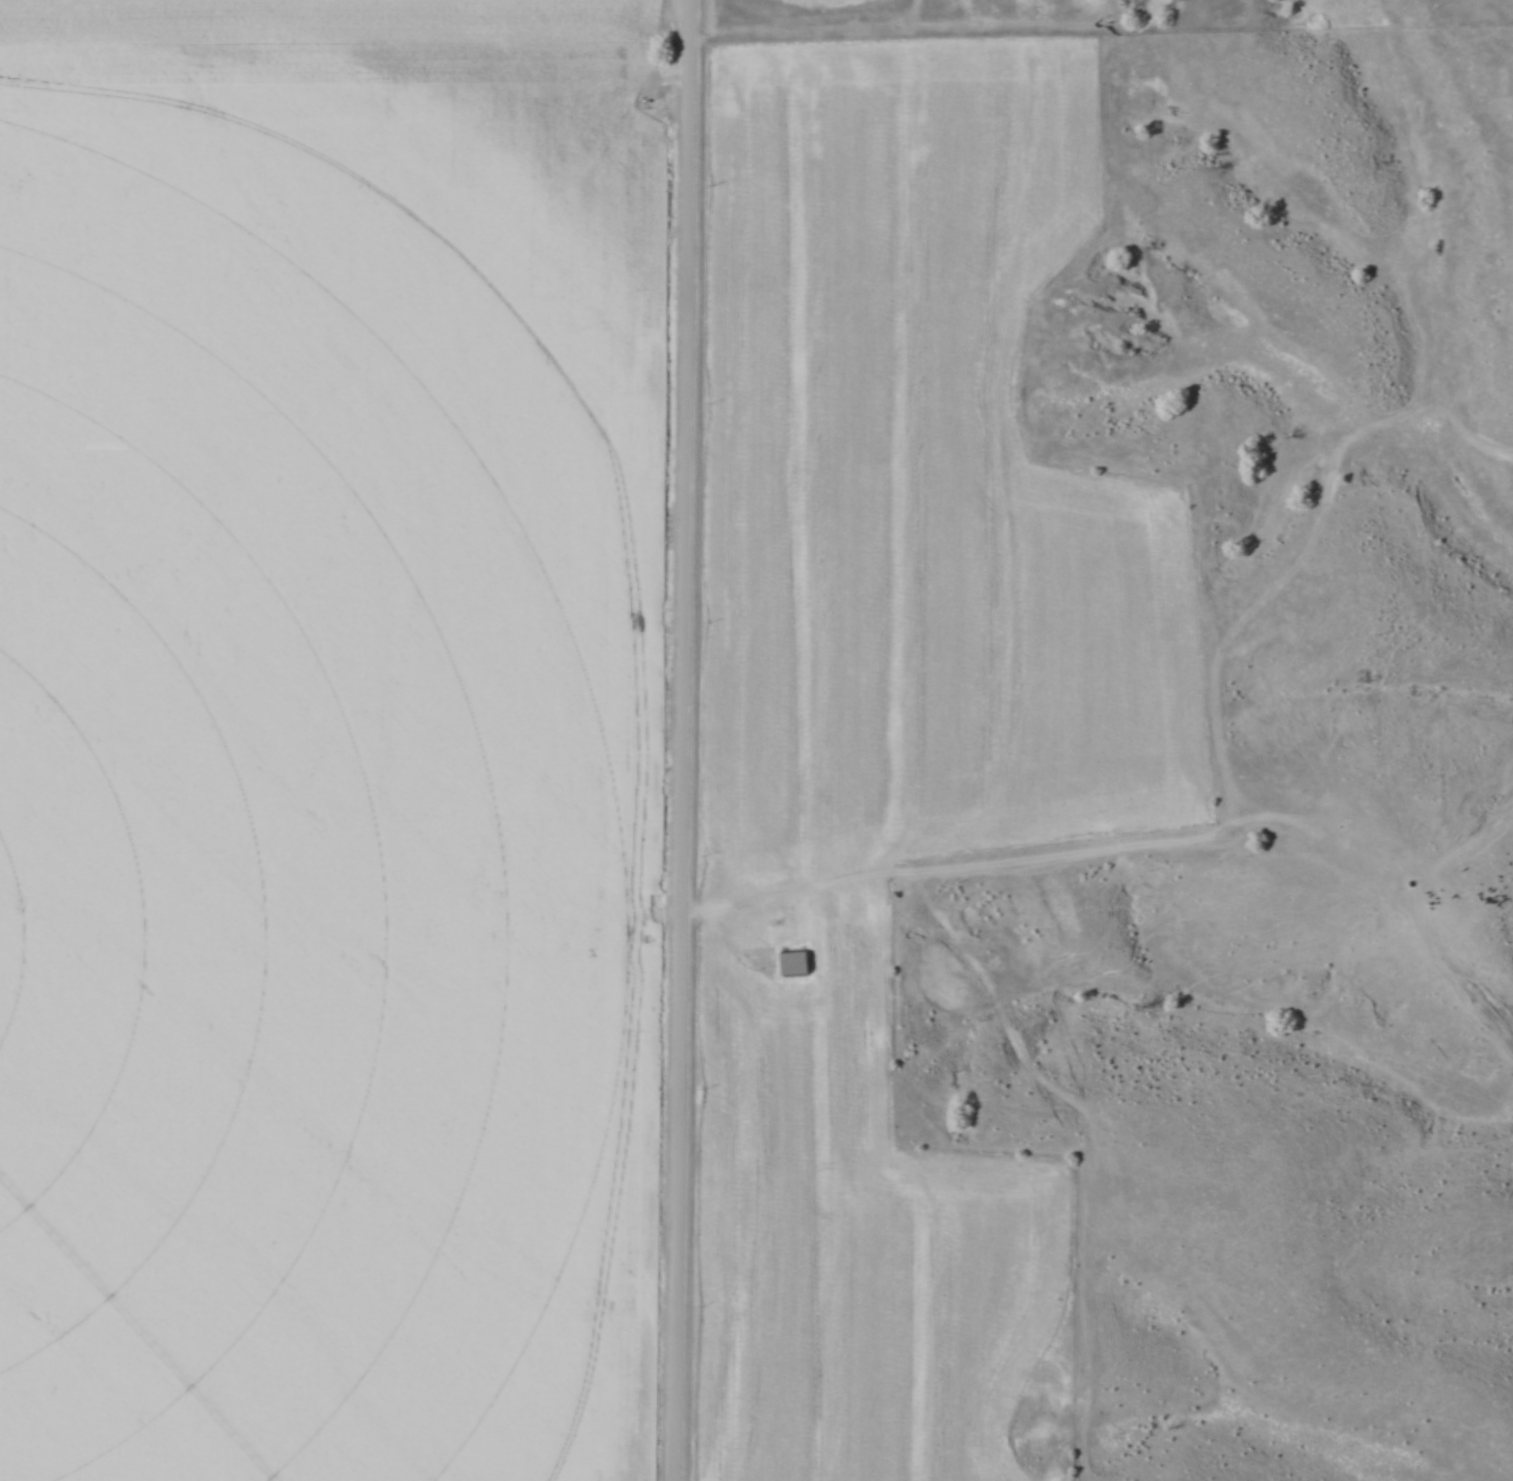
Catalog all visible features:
crop: (807, 0)
crop: (325, 18)
road: (681, 740)
building: (790, 963)

